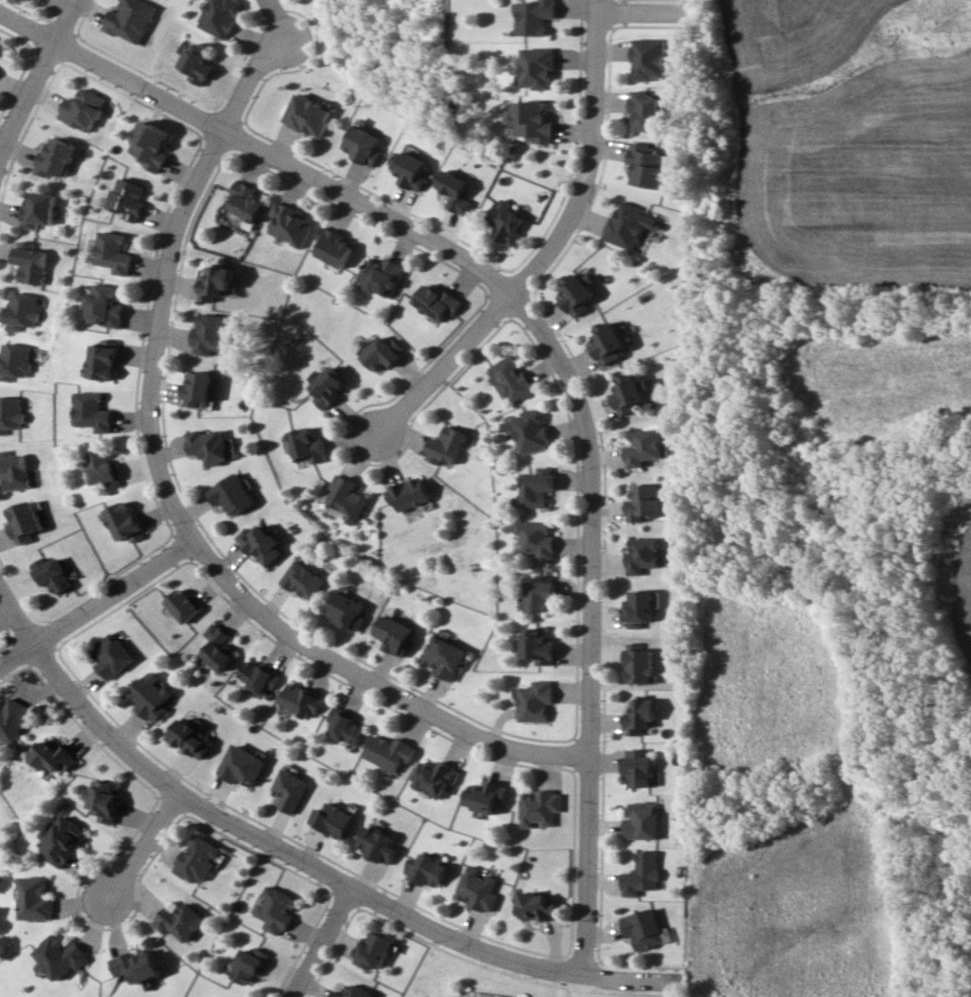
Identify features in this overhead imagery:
building: (32, 0)
road: (647, 12)
building: (220, 16)
building: (538, 16)
building: (128, 19)
road: (26, 28)
building: (0, 46)
building: (648, 59)
building: (197, 62)
building: (541, 68)
road: (35, 76)
building: (79, 109)
building: (646, 111)
building: (308, 115)
building: (537, 122)
building: (362, 142)
building: (149, 145)
building: (52, 158)
road: (595, 161)
road: (284, 163)
building: (649, 165)
building: (410, 169)
building: (458, 192)
building: (125, 199)
building: (245, 201)
building: (35, 209)
building: (510, 221)
building: (289, 224)
building: (630, 225)
building: (332, 247)
building: (112, 252)
building: (27, 262)
building: (381, 276)
road: (166, 281)
building: (216, 282)
building: (581, 293)
building: (438, 302)
building: (104, 306)
building: (19, 310)
building: (212, 333)
building: (612, 342)
building: (382, 353)
building: (101, 359)
building: (14, 361)
road: (441, 368)
building: (511, 379)
building: (328, 387)
building: (199, 388)
building: (632, 393)
building: (90, 411)
building: (9, 413)
building: (528, 431)
building: (306, 443)
building: (207, 445)
building: (446, 446)
building: (646, 446)
building: (100, 468)
building: (12, 471)
building: (536, 488)
building: (410, 493)
building: (231, 494)
building: (645, 502)
building: (22, 521)
building: (120, 521)
building: (536, 538)
building: (260, 544)
building: (643, 554)
building: (50, 575)
building: (303, 580)
building: (540, 593)
road: (94, 598)
building: (178, 605)
building: (640, 608)
building: (347, 611)
road: (15, 614)
road: (590, 622)
building: (394, 634)
building: (537, 646)
building: (213, 647)
building: (107, 655)
building: (444, 657)
building: (640, 664)
building: (255, 676)
road: (370, 678)
building: (148, 697)
building: (300, 700)
building: (535, 701)
building: (641, 716)
building: (12, 719)
building: (346, 726)
building: (187, 738)
building: (390, 753)
building: (52, 756)
building: (240, 765)
building: (639, 768)
building: (290, 790)
building: (486, 796)
building: (104, 799)
building: (540, 807)
building: (333, 820)
building: (643, 821)
building: (62, 840)
road: (144, 845)
building: (378, 845)
building: (197, 859)
building: (426, 870)
road: (325, 872)
building: (642, 874)
building: (478, 889)
building: (37, 898)
building: (538, 906)
building: (275, 909)
building: (180, 921)
building: (645, 929)
road: (319, 941)
building: (372, 950)
building: (61, 957)
building: (138, 965)
building: (249, 965)
park: (496, 980)
road: (558, 983)
road: (578, 985)
building: (353, 992)

